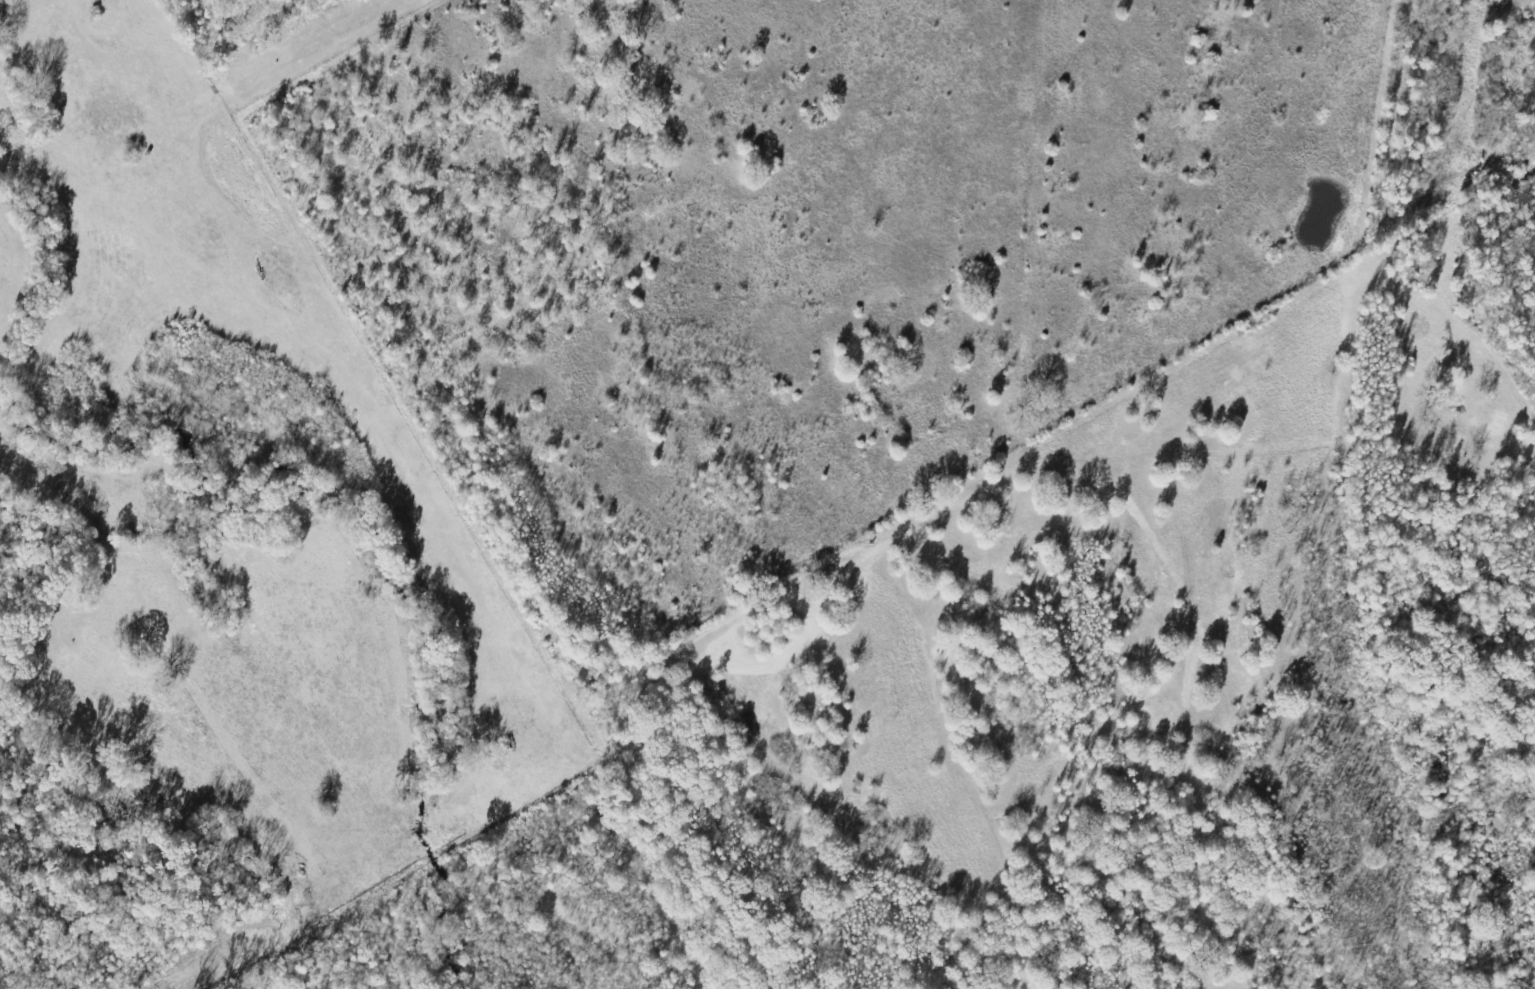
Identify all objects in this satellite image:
road: (1361, 38)

